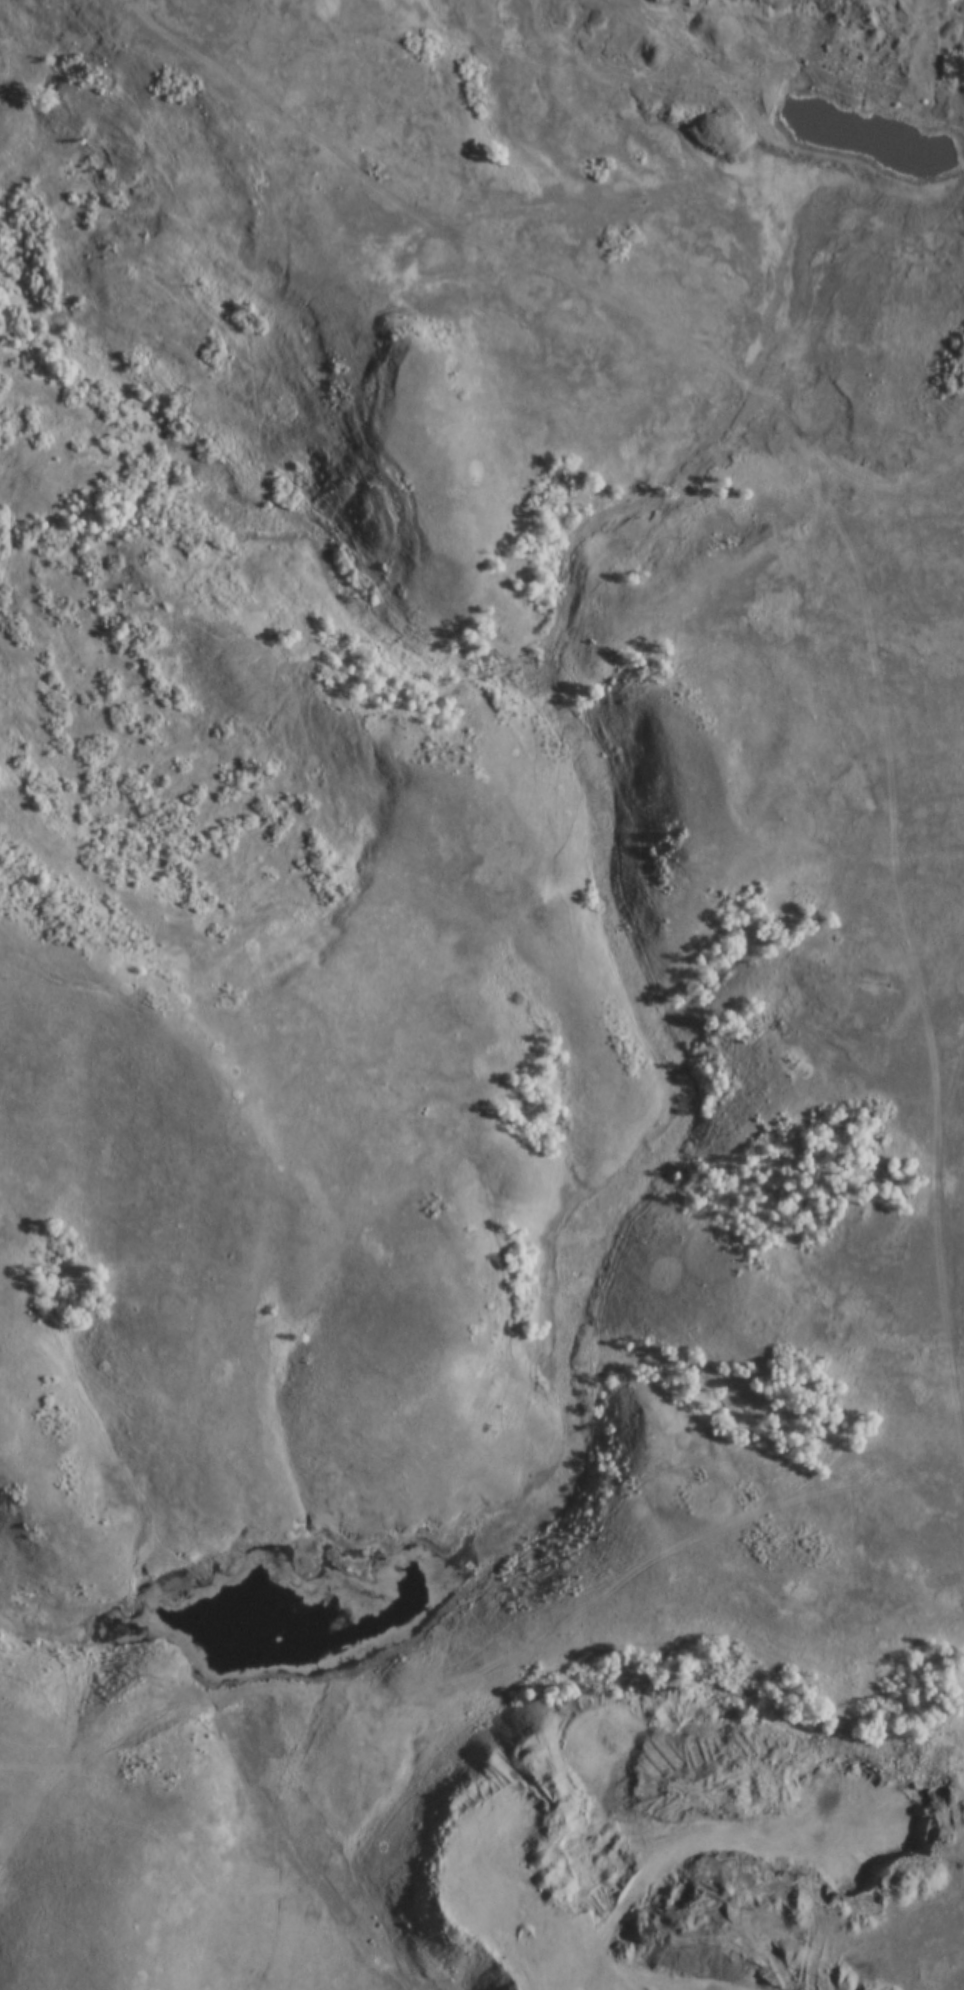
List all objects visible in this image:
road: (859, 558)
road: (952, 852)

